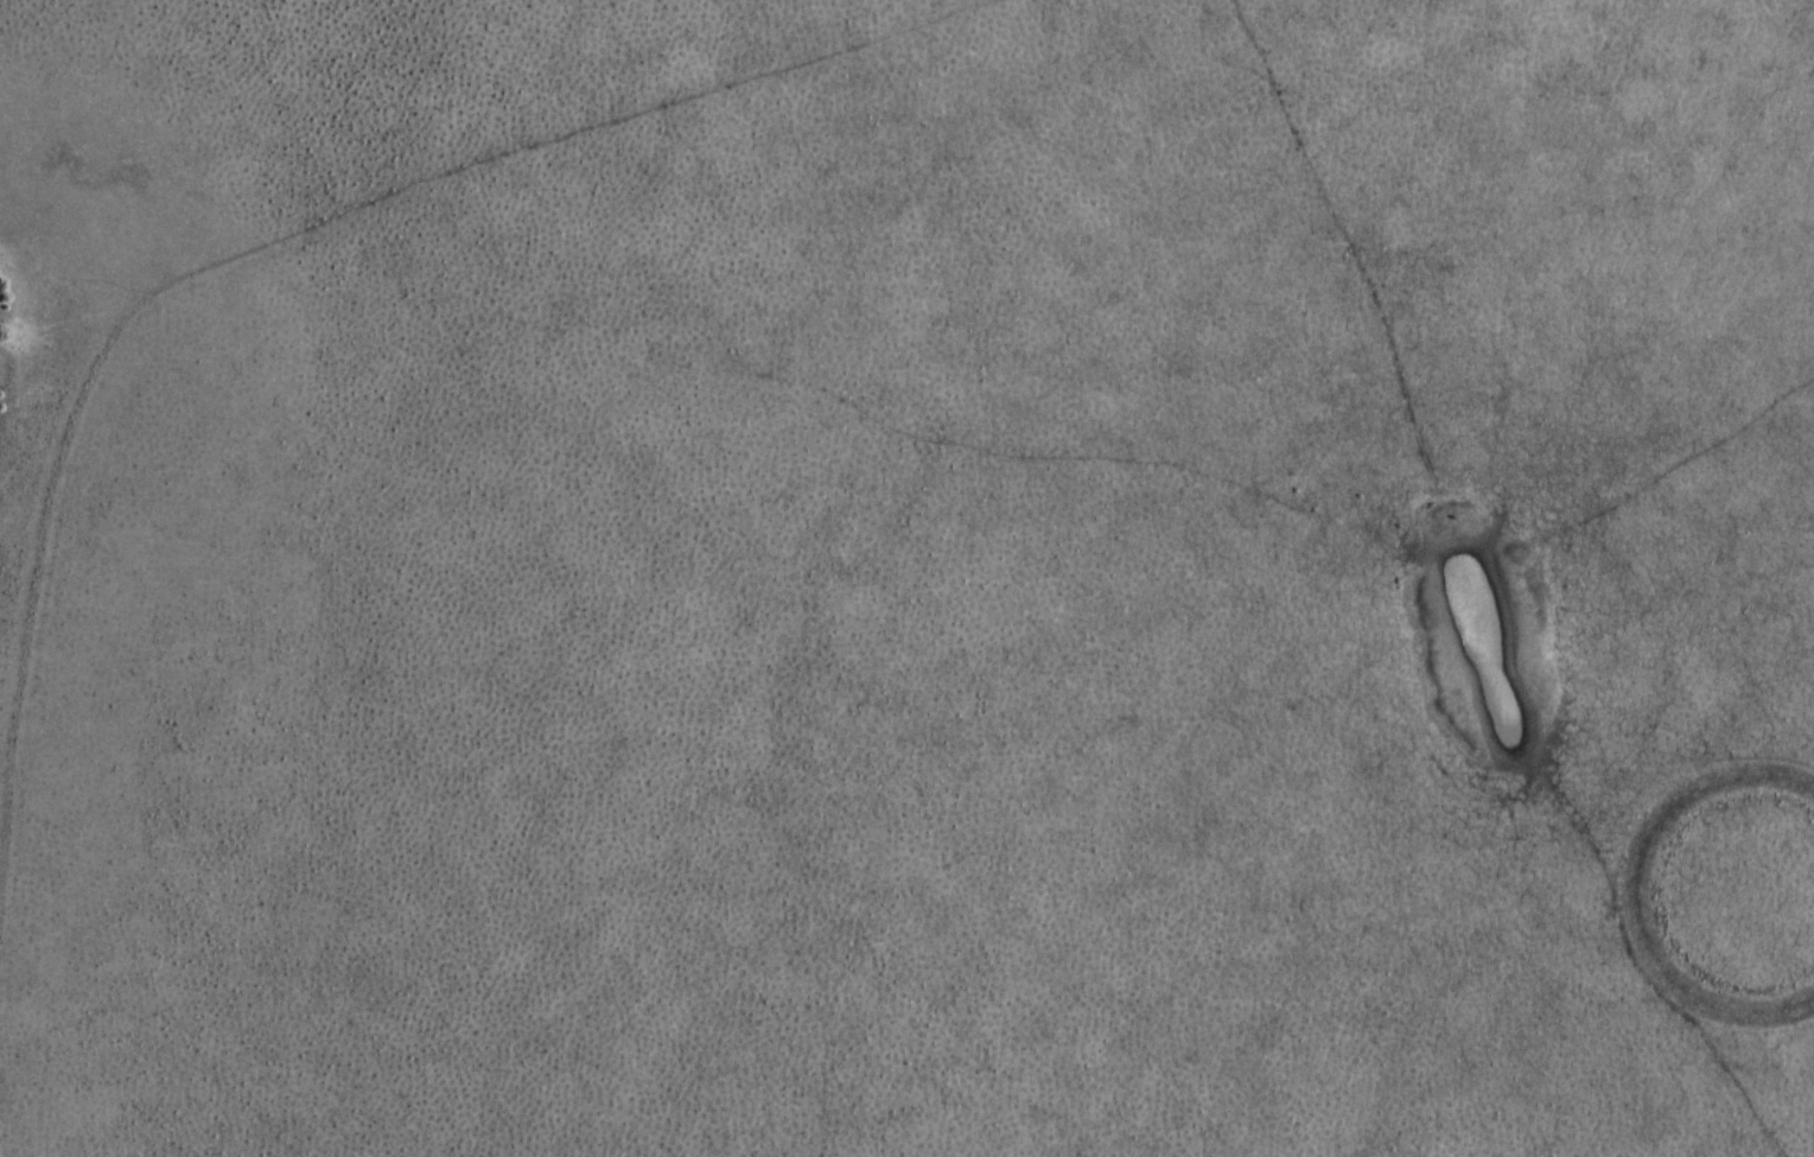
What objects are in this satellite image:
wastewater plant: (1482, 685)

